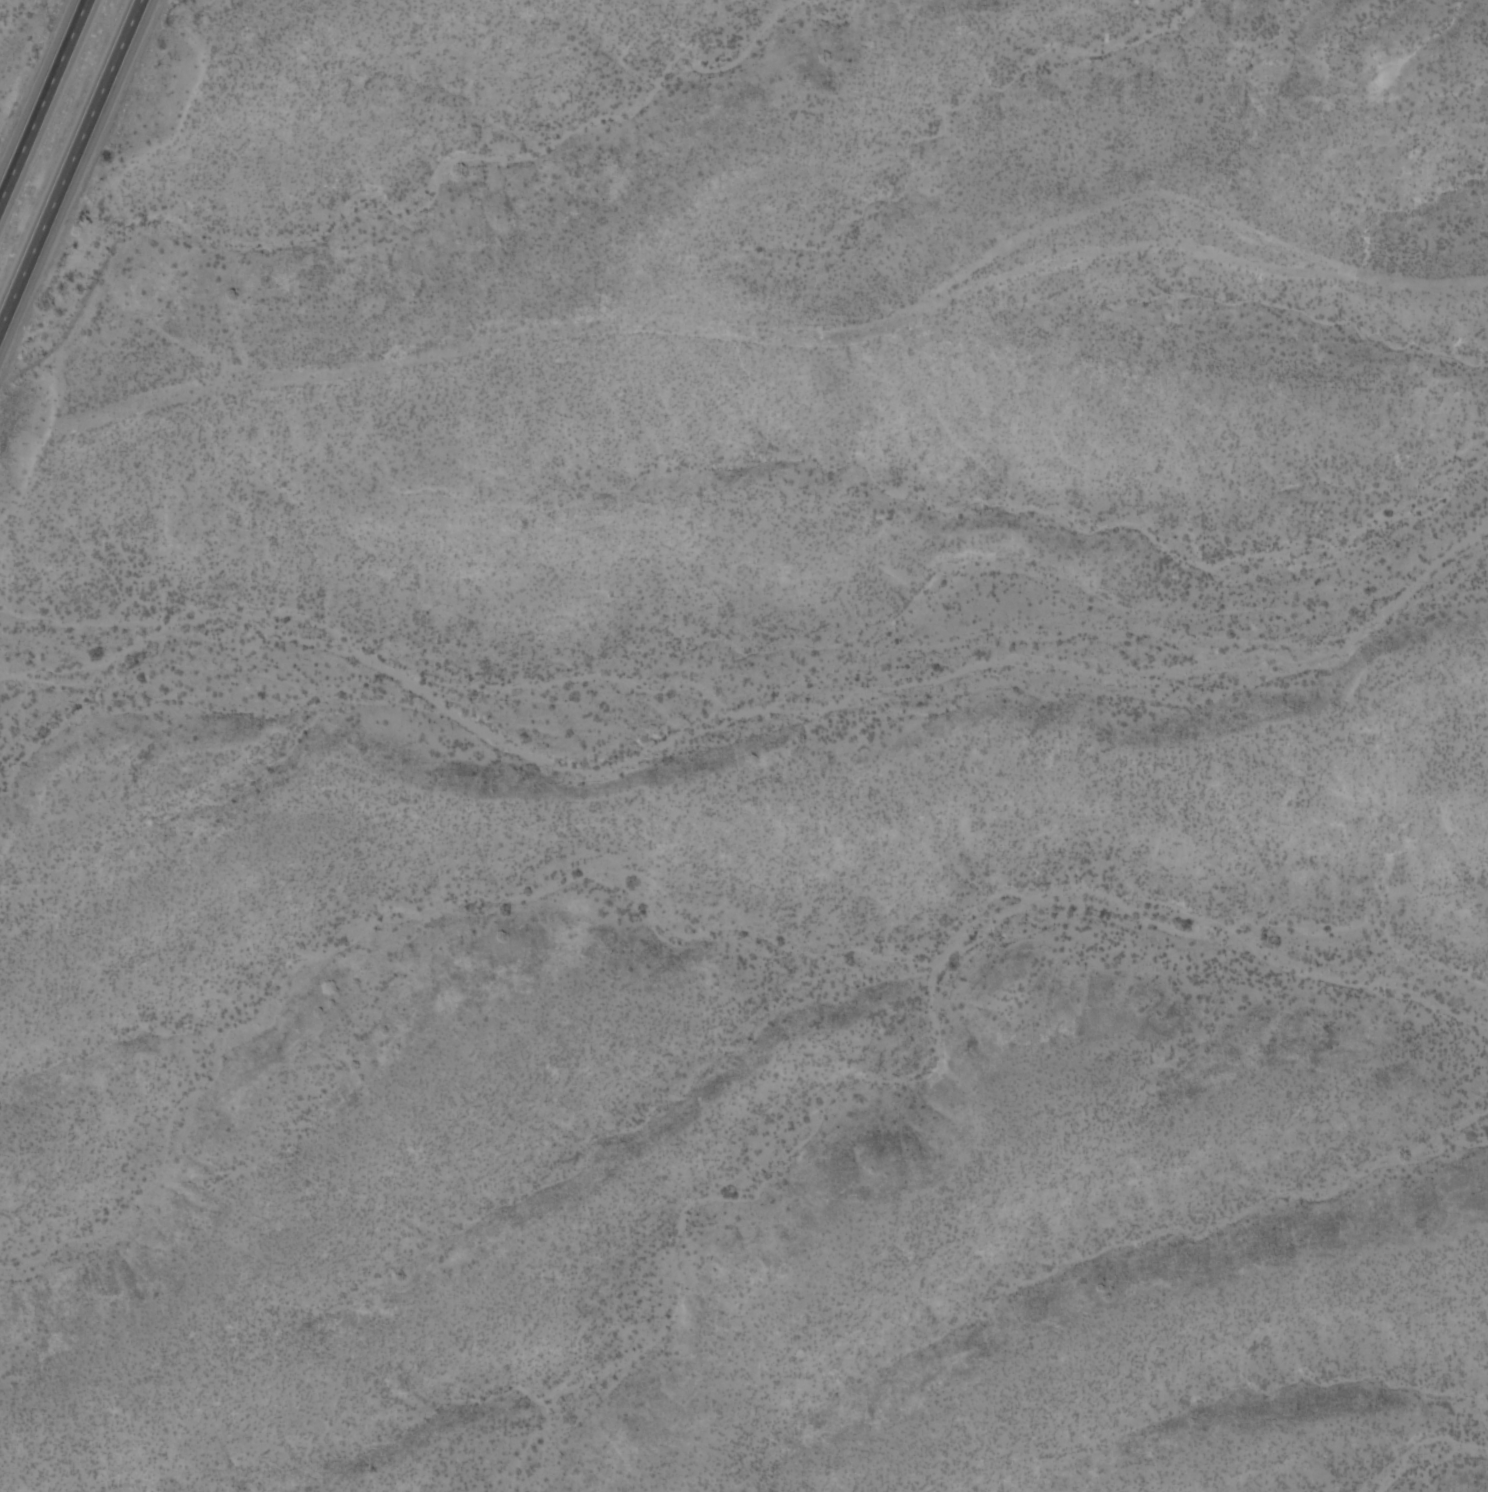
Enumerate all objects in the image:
road: (42, 99)
road: (69, 163)

